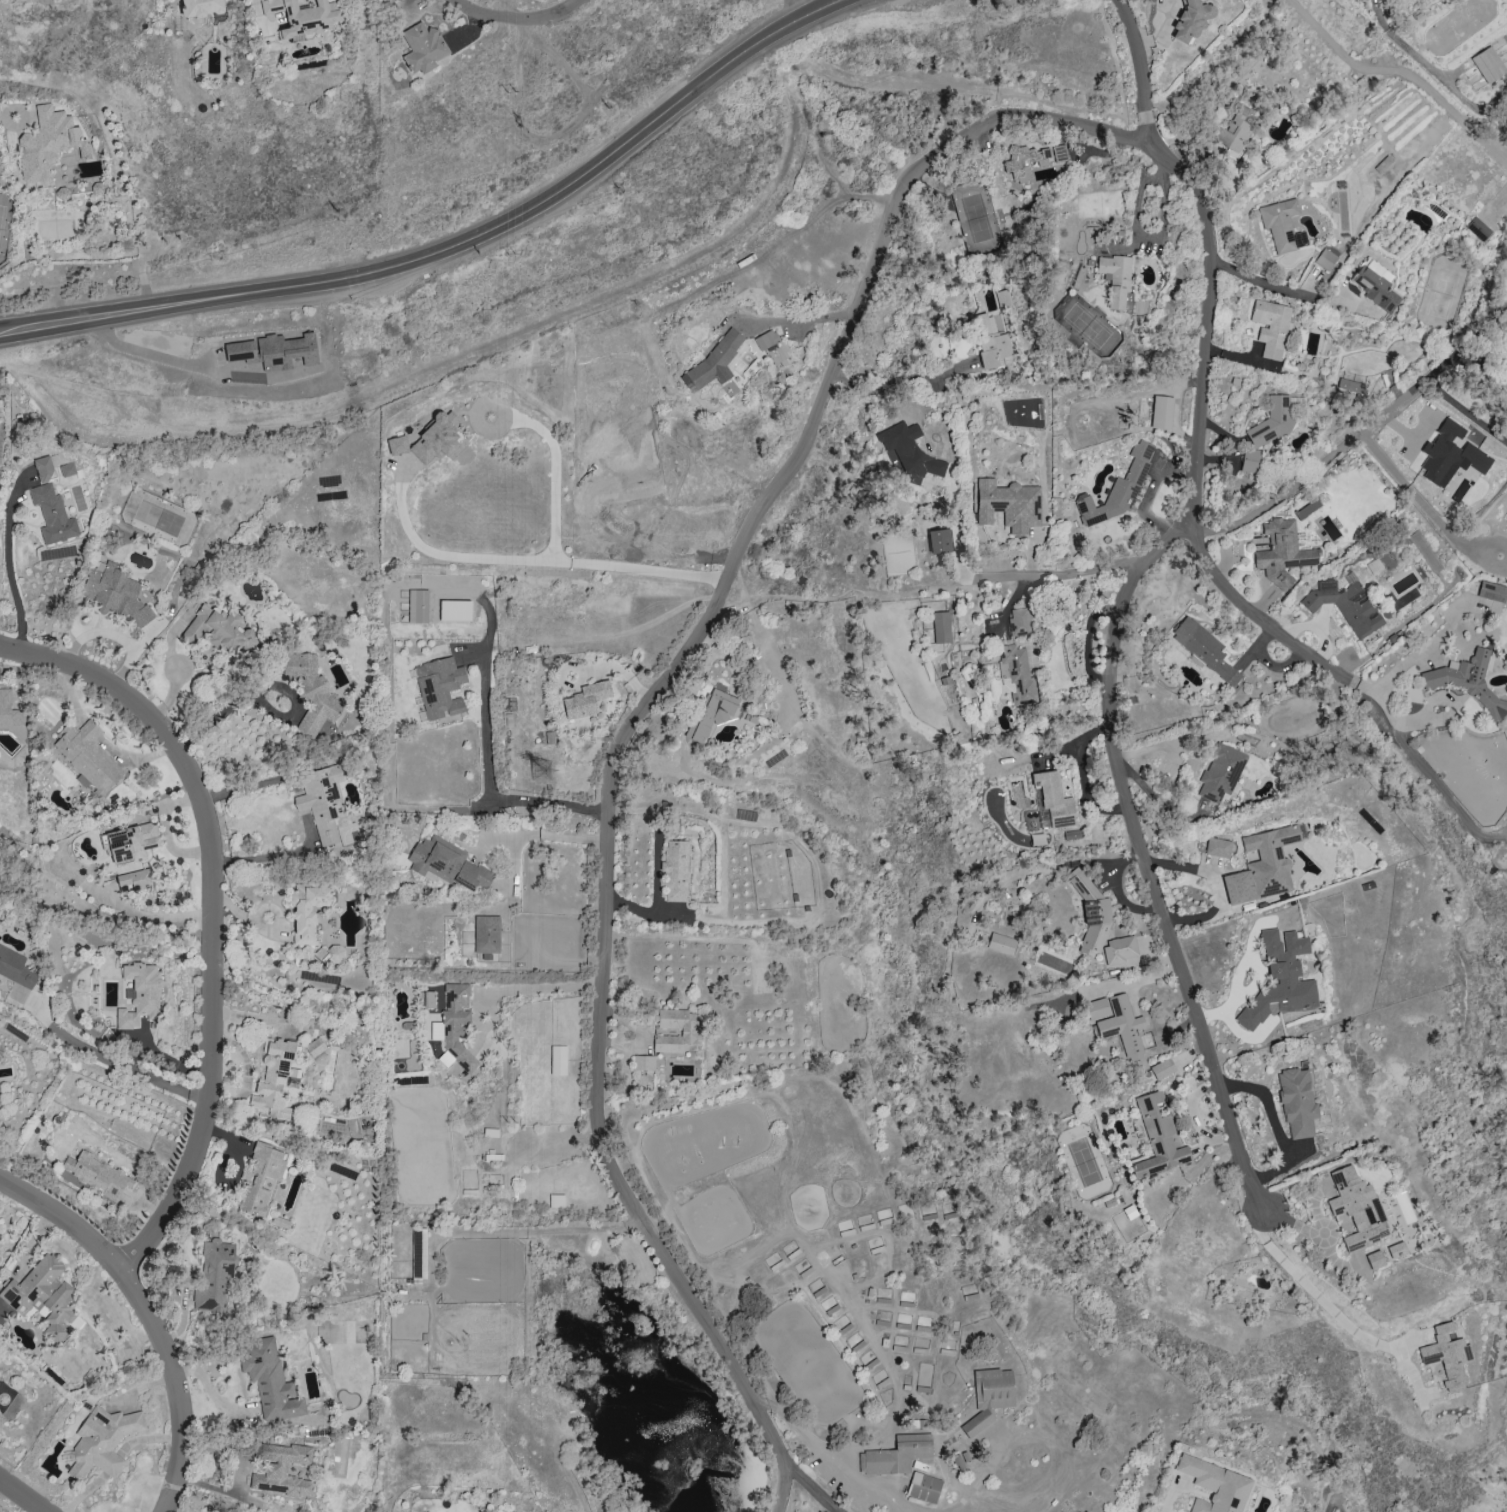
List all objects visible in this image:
building: (200, 7)
road: (797, 8)
road: (259, 16)
road: (519, 17)
building: (298, 18)
building: (1190, 20)
road: (1155, 28)
building: (422, 48)
building: (1488, 64)
road: (1399, 71)
road: (1140, 73)
power tower: (518, 94)
road: (2, 111)
building: (1235, 129)
road: (409, 132)
building: (48, 143)
building: (1024, 161)
building: (1282, 225)
building: (1478, 228)
road: (1143, 243)
road: (450, 248)
building: (1325, 259)
power tower: (511, 260)
building: (1115, 278)
road: (1271, 285)
building: (1375, 285)
road: (804, 322)
building: (1271, 327)
building: (991, 341)
building: (772, 347)
building: (277, 352)
building: (713, 362)
road: (900, 380)
building: (1349, 386)
building: (1161, 412)
building: (1272, 421)
road: (938, 429)
road: (1348, 437)
building: (431, 440)
building: (909, 453)
building: (1450, 454)
building: (1249, 461)
road: (552, 466)
building: (44, 469)
building: (1117, 489)
building: (1009, 505)
building: (52, 514)
road: (961, 536)
building: (938, 541)
building: (1281, 553)
road: (536, 562)
road: (7, 567)
road: (1067, 571)
building: (114, 591)
building: (1491, 591)
building: (418, 606)
building: (1346, 606)
building: (455, 610)
road: (716, 613)
road: (1257, 616)
building: (1018, 621)
building: (941, 627)
road: (1316, 627)
building: (217, 629)
building: (1204, 649)
road: (1112, 669)
building: (1016, 673)
building: (1468, 681)
building: (440, 687)
building: (310, 691)
building: (586, 699)
building: (8, 709)
building: (712, 714)
road: (219, 716)
road: (98, 738)
building: (87, 755)
road: (486, 757)
road: (1426, 771)
building: (1221, 772)
power tower: (541, 773)
road: (1081, 775)
road: (247, 786)
building: (1054, 799)
building: (322, 800)
power tower: (509, 809)
building: (1072, 835)
building: (132, 842)
building: (1218, 847)
building: (448, 864)
building: (1263, 865)
building: (675, 871)
building: (135, 879)
road: (1216, 884)
building: (307, 910)
road: (214, 912)
building: (1091, 913)
building: (486, 934)
building: (1001, 943)
building: (1118, 950)
building: (331, 955)
building: (16, 968)
building: (1280, 978)
road: (536, 989)
building: (140, 994)
building: (1097, 1009)
building: (456, 1027)
building: (1122, 1027)
building: (689, 1031)
building: (315, 1047)
building: (557, 1060)
building: (643, 1062)
road: (127, 1068)
building: (1162, 1068)
building: (273, 1080)
building: (1297, 1102)
road: (1275, 1125)
power tower: (510, 1126)
building: (1158, 1138)
building: (98, 1174)
building: (261, 1178)
building: (556, 1201)
building: (1357, 1208)
road: (65, 1220)
road: (1291, 1223)
road: (537, 1231)
road: (1330, 1241)
building: (1396, 1250)
building: (1375, 1259)
building: (214, 1275)
road: (1312, 1289)
building: (898, 1347)
building: (1447, 1355)
building: (269, 1380)
road: (739, 1380)
road: (181, 1386)
building: (993, 1388)
road: (214, 1394)
building: (978, 1421)
building: (102, 1440)
building: (895, 1455)
road: (831, 1465)
building: (281, 1469)
road: (977, 1482)
building: (1215, 1485)
road: (780, 1487)
road: (810, 1487)
building: (923, 1487)
road: (22, 1494)
road: (1170, 1500)

